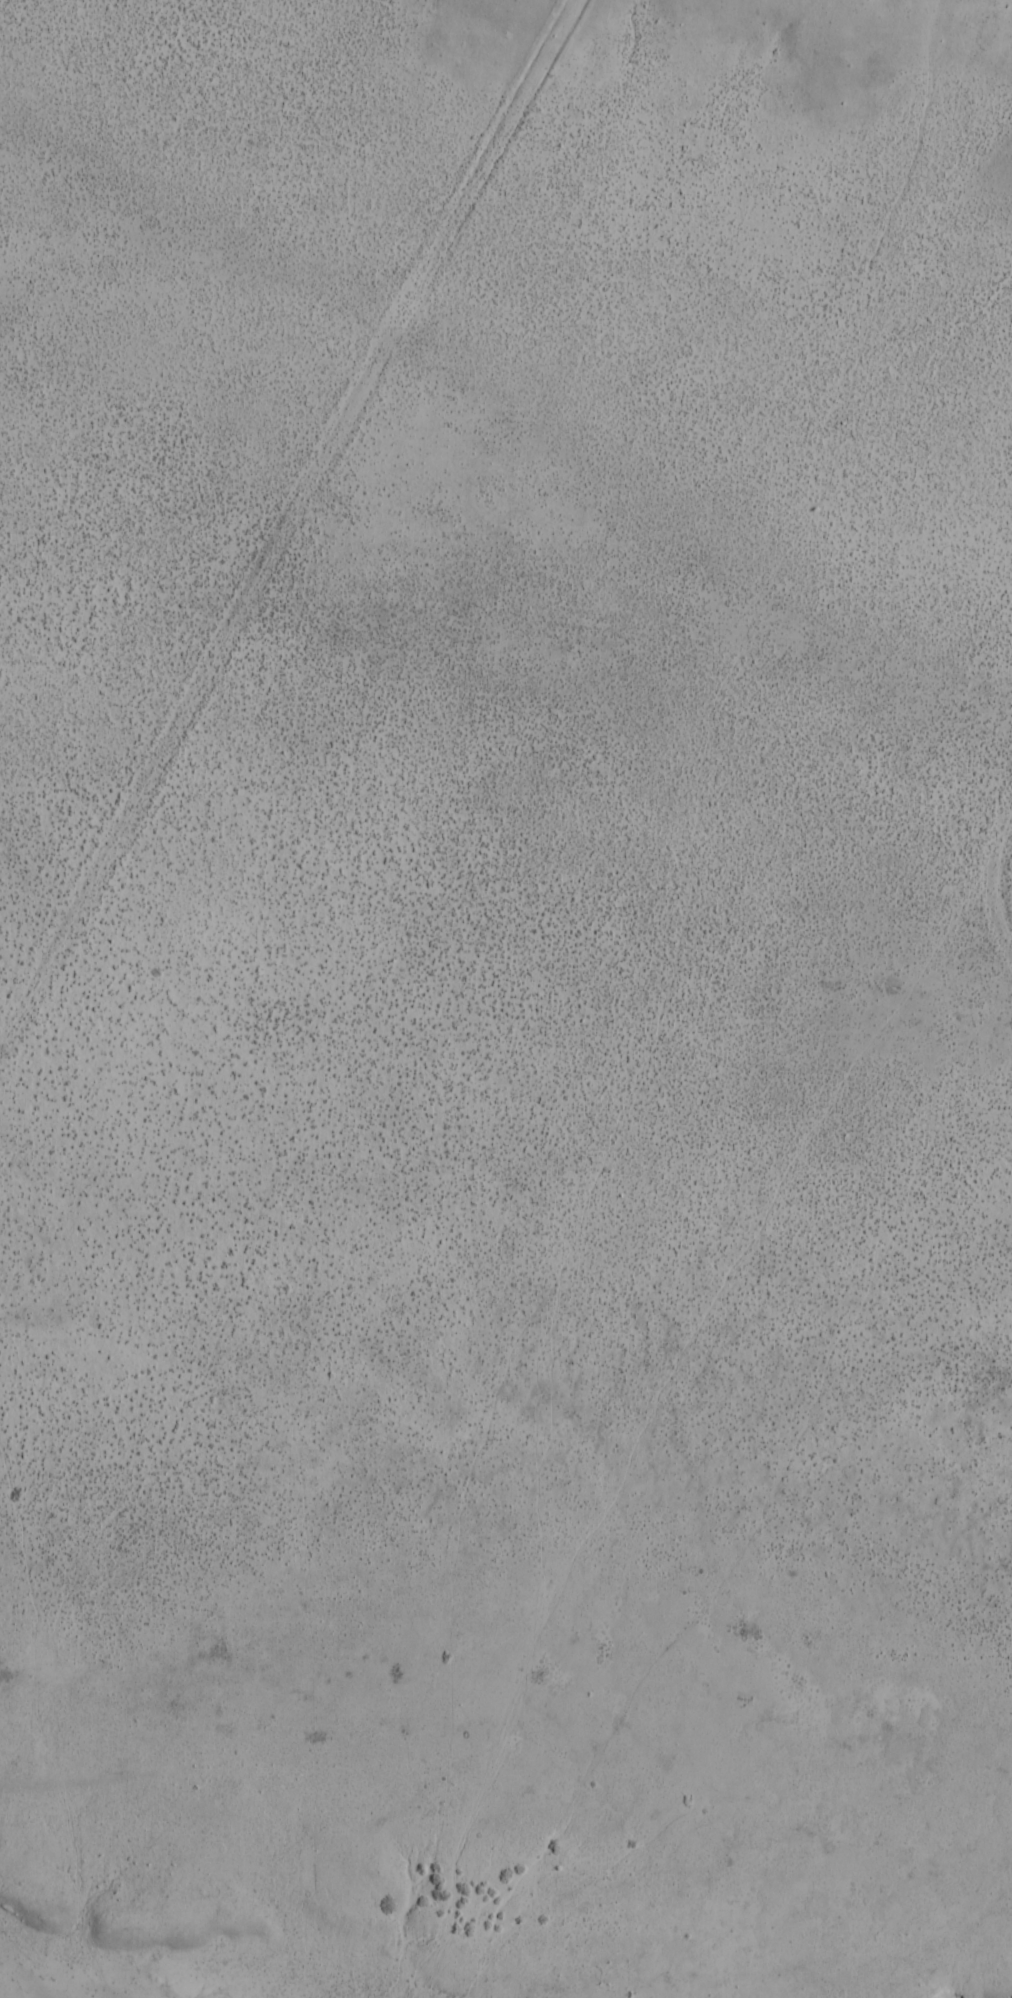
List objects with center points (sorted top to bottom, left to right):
road: (304, 510)
road: (987, 910)

